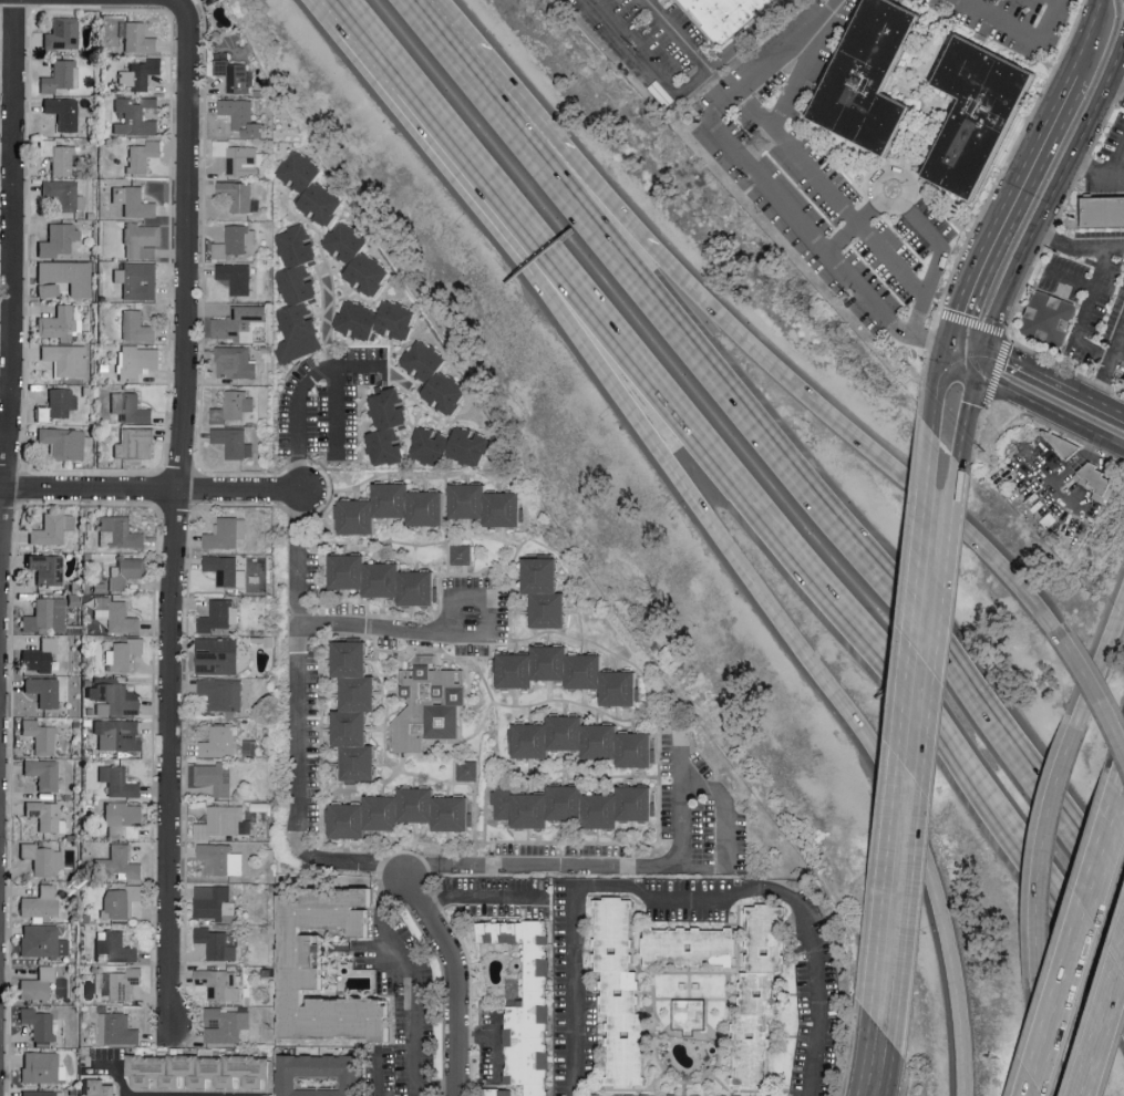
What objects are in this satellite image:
road: (182, 3)
building: (728, 15)
road: (343, 17)
road: (1022, 29)
road: (433, 30)
building: (63, 33)
road: (680, 34)
building: (140, 38)
road: (1086, 38)
building: (140, 74)
building: (60, 75)
building: (235, 75)
road: (796, 76)
building: (877, 76)
road: (1114, 84)
road: (683, 93)
building: (63, 112)
building: (987, 112)
building: (241, 115)
building: (135, 116)
power tower: (755, 145)
building: (59, 155)
building: (143, 155)
building: (237, 157)
road: (558, 159)
road: (1116, 162)
road: (1095, 172)
road: (767, 175)
building: (312, 187)
road: (831, 189)
building: (64, 194)
building: (239, 195)
road: (1049, 197)
building: (134, 200)
road: (1001, 209)
building: (1102, 211)
road: (918, 218)
road: (1055, 238)
building: (59, 239)
building: (143, 240)
building: (235, 241)
road: (1101, 249)
building: (359, 257)
building: (237, 277)
building: (64, 278)
building: (138, 279)
road: (1073, 280)
road: (10, 282)
building: (300, 294)
road: (1087, 316)
road: (326, 319)
building: (378, 320)
building: (1048, 321)
building: (59, 323)
building: (239, 323)
building: (136, 325)
road: (1118, 344)
traffic signals: (945, 350)
road: (961, 358)
building: (66, 359)
building: (138, 361)
building: (235, 362)
traffic signals: (979, 365)
building: (437, 376)
road: (1051, 378)
road: (1104, 379)
road: (333, 386)
road: (973, 390)
road: (934, 392)
building: (58, 404)
building: (233, 406)
building: (131, 407)
road: (1049, 407)
road: (299, 418)
building: (390, 426)
road: (963, 441)
building: (63, 442)
building: (234, 442)
road: (859, 442)
building: (136, 443)
building: (453, 446)
power tower: (1025, 455)
road: (1082, 458)
road: (929, 475)
road: (796, 482)
road: (152, 486)
road: (945, 490)
building: (488, 505)
road: (755, 506)
building: (429, 507)
building: (374, 508)
road: (176, 514)
building: (53, 529)
building: (118, 531)
building: (227, 533)
road: (719, 540)
building: (463, 554)
building: (48, 568)
building: (226, 570)
building: (126, 571)
building: (386, 579)
building: (547, 592)
building: (116, 614)
building: (47, 616)
building: (219, 617)
road: (457, 635)
building: (124, 653)
building: (217, 654)
building: (40, 655)
road: (1102, 660)
building: (570, 672)
road: (1096, 690)
building: (44, 691)
building: (223, 692)
building: (114, 697)
building: (429, 704)
building: (357, 710)
road: (299, 725)
building: (118, 734)
building: (40, 736)
building: (219, 741)
building: (586, 741)
building: (467, 769)
road: (909, 772)
building: (43, 773)
building: (213, 777)
building: (120, 782)
building: (575, 806)
building: (402, 813)
building: (47, 816)
building: (124, 820)
building: (224, 821)
road: (723, 844)
road: (1042, 846)
building: (43, 858)
building: (220, 859)
building: (120, 864)
road: (604, 868)
road: (784, 893)
road: (483, 896)
building: (121, 901)
building: (213, 901)
building: (41, 903)
building: (43, 941)
building: (218, 942)
building: (114, 947)
building: (693, 947)
road: (1080, 951)
building: (307, 976)
road: (414, 976)
road: (458, 982)
building: (118, 983)
building: (219, 983)
building: (38, 984)
road: (575, 991)
building: (622, 993)
building: (762, 994)
building: (529, 1005)
building: (691, 1015)
building: (38, 1023)
building: (225, 1024)
building: (117, 1028)
road: (1105, 1035)
road: (1040, 1038)
road: (879, 1062)
building: (40, 1066)
road: (122, 1066)
building: (202, 1071)
road: (375, 1072)
building: (321, 1075)
road: (437, 1086)
building: (101, 1087)
building: (501, 1092)
building: (42, 1093)
building: (604, 1095)

